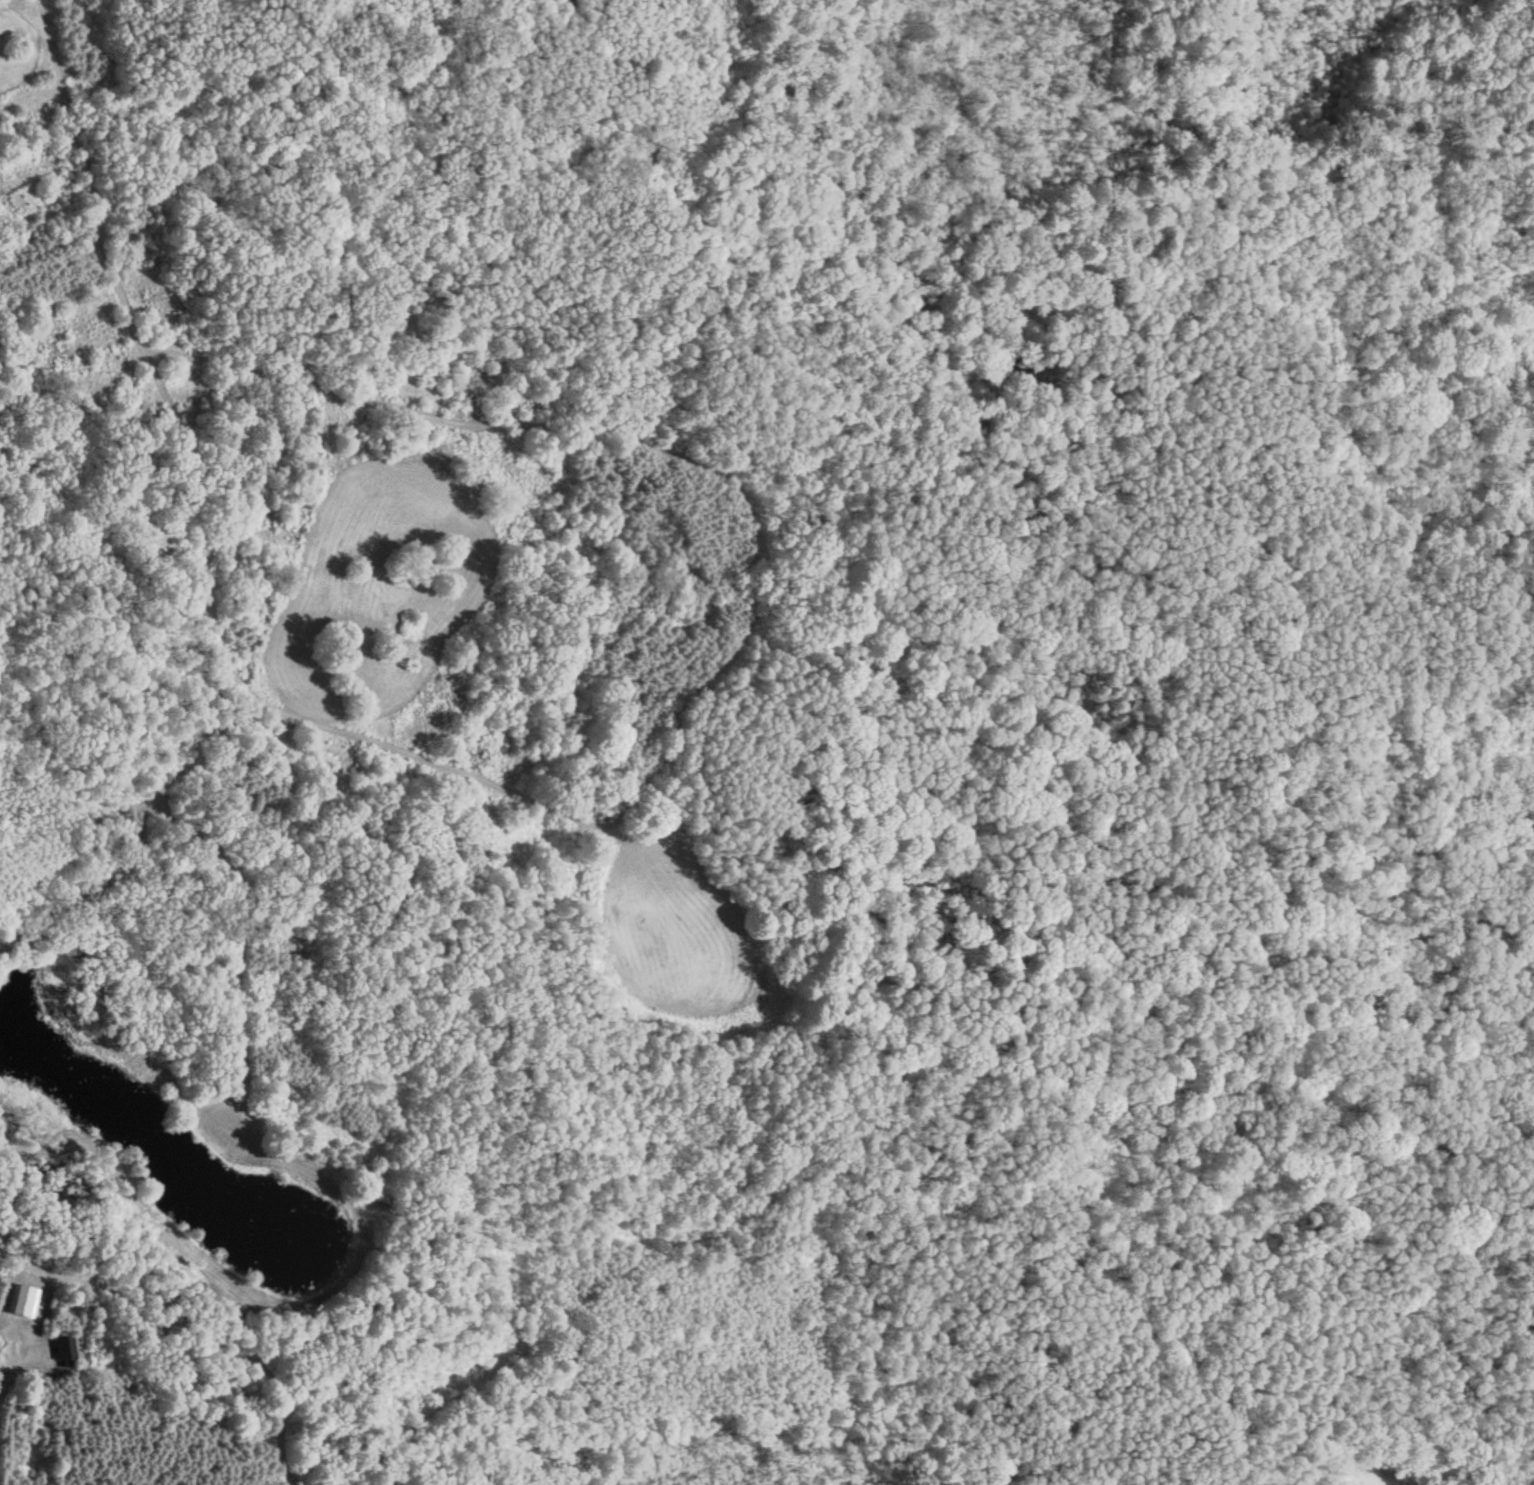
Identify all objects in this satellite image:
road: (853, 1259)
road: (1522, 1278)
building: (61, 1347)

